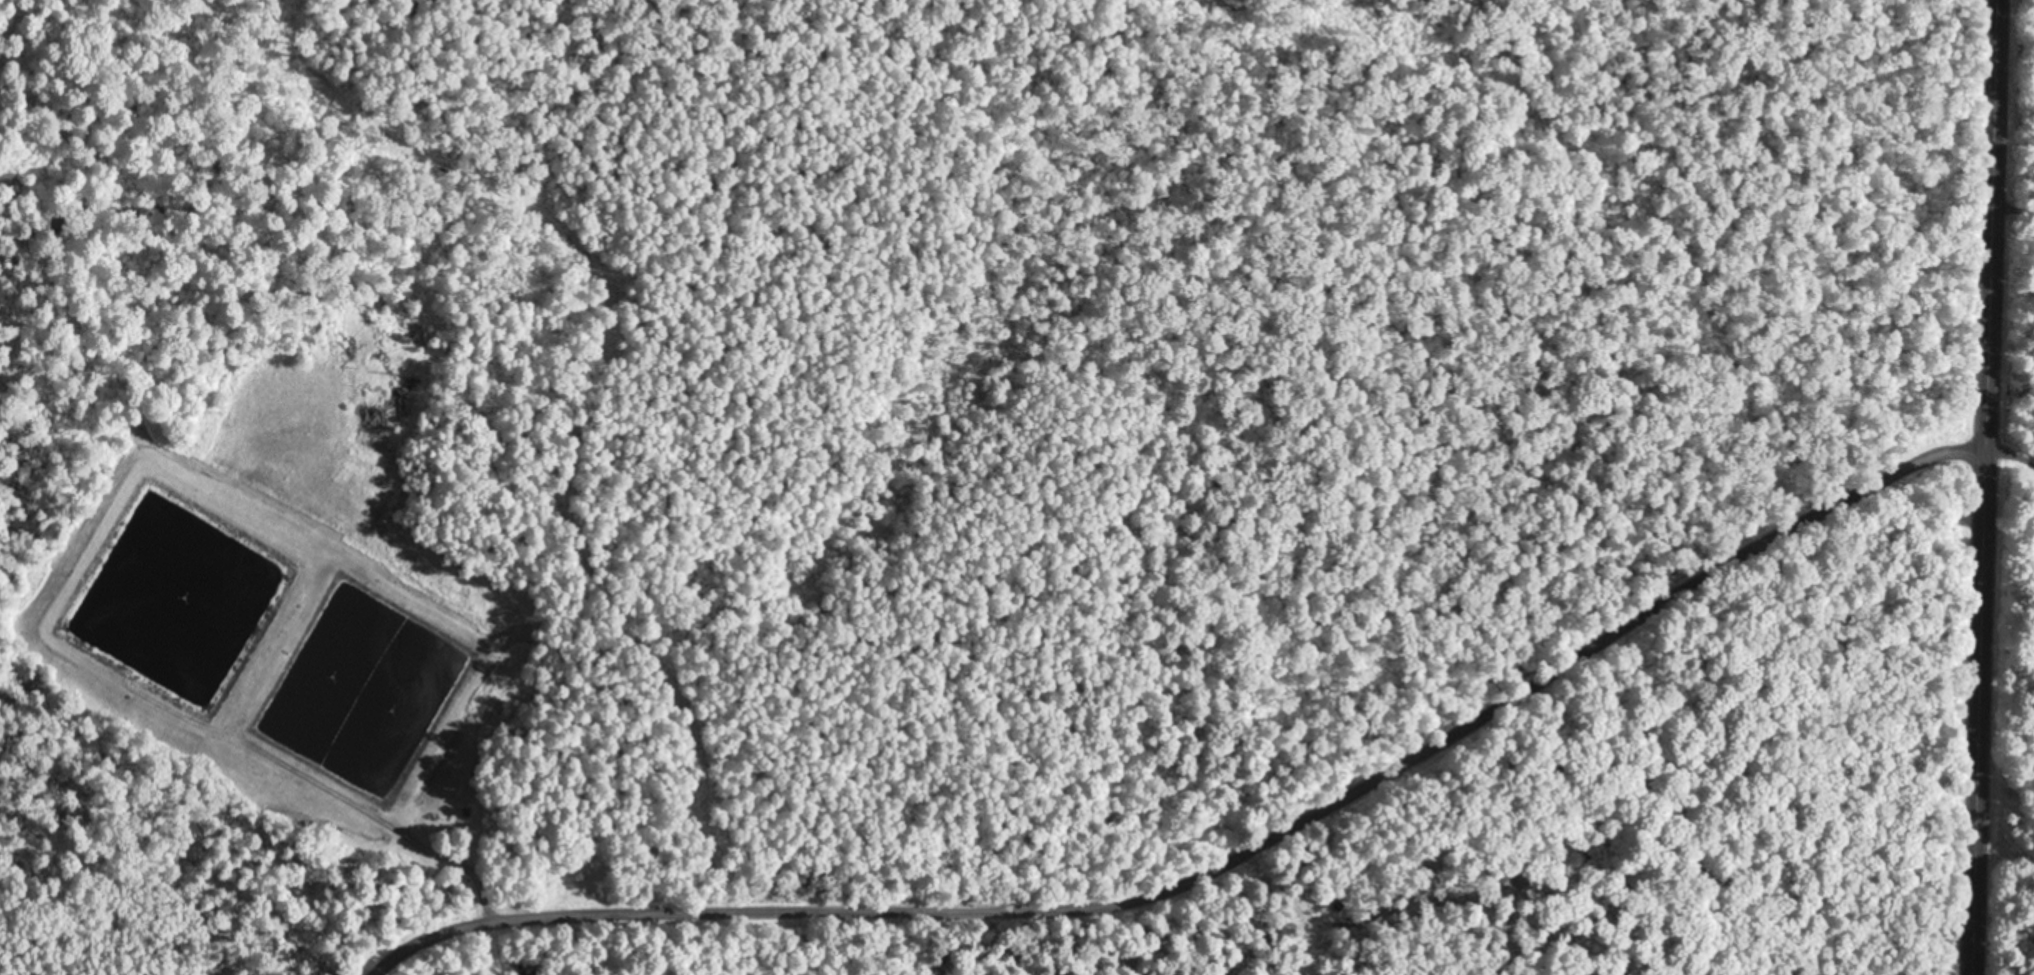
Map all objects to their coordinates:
road: (1976, 487)
road: (1219, 869)

